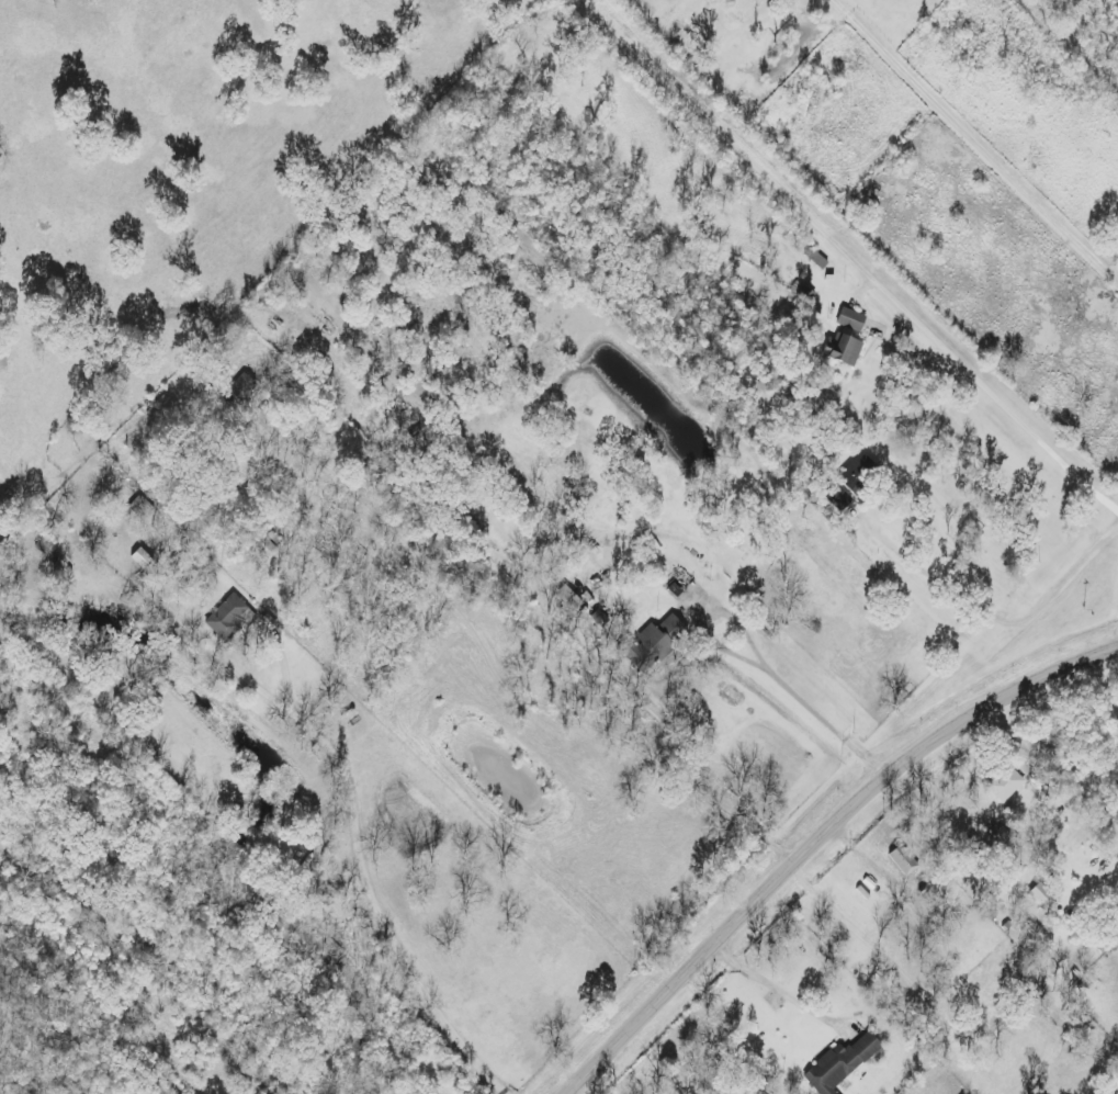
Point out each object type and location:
road: (974, 140)
road: (855, 253)
building: (814, 259)
building: (801, 293)
building: (849, 320)
building: (842, 351)
building: (2, 360)
building: (235, 395)
road: (777, 406)
building: (858, 469)
building: (478, 525)
building: (566, 600)
building: (226, 618)
building: (657, 642)
road: (817, 715)
building: (1006, 783)
road: (359, 788)
road: (820, 839)
building: (902, 861)
building: (1040, 896)
building: (1103, 943)
road: (772, 984)
road: (144, 1017)
building: (838, 1064)

